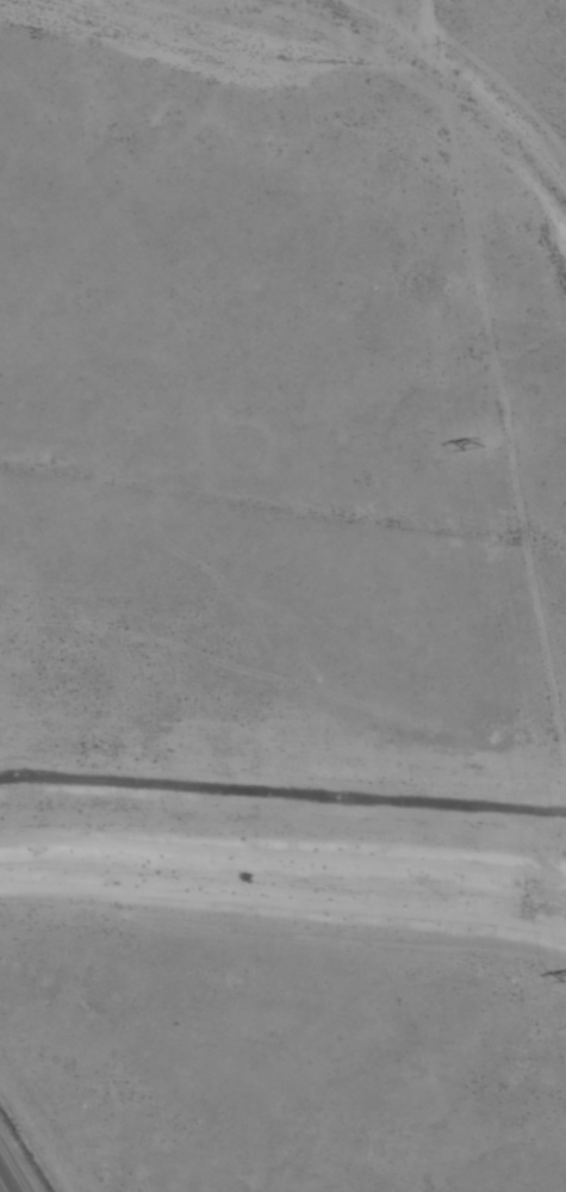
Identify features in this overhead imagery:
power tower: (475, 445)
road: (7, 1180)

